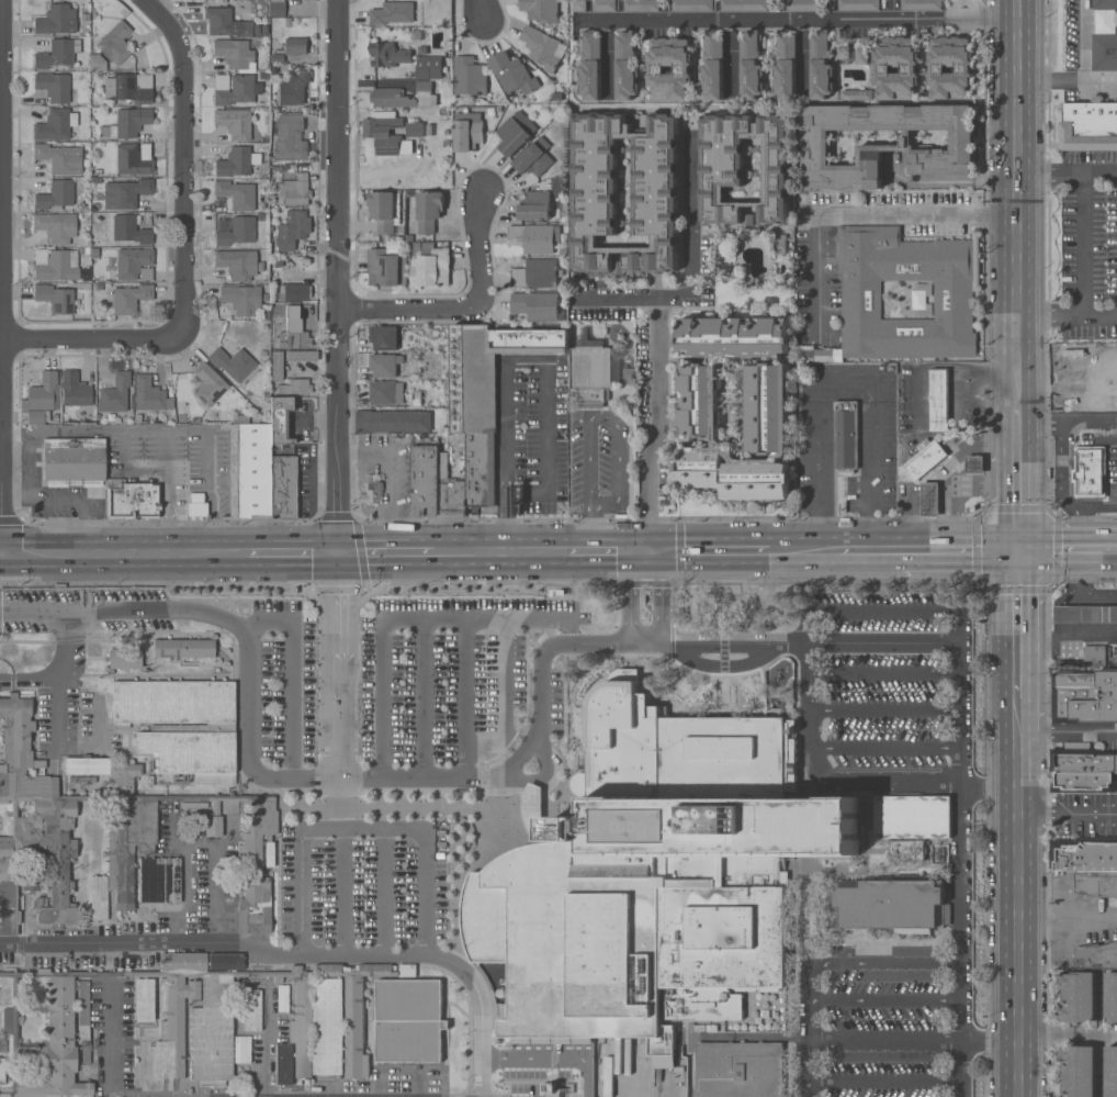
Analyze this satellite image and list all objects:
building: (743, 4)
building: (804, 4)
building: (858, 4)
building: (921, 4)
building: (1104, 4)
building: (578, 5)
building: (603, 5)
building: (641, 5)
building: (691, 5)
building: (277, 7)
road: (481, 10)
building: (540, 10)
road: (1017, 11)
building: (392, 13)
building: (56, 19)
building: (218, 19)
road: (796, 20)
building: (245, 29)
building: (115, 42)
road: (1084, 43)
building: (295, 47)
building: (541, 47)
building: (57, 53)
building: (1104, 53)
building: (235, 54)
building: (387, 54)
building: (861, 56)
road: (606, 59)
road: (731, 59)
road: (802, 59)
building: (98, 64)
building: (590, 66)
building: (625, 66)
building: (713, 66)
building: (751, 66)
building: (786, 66)
building: (821, 66)
building: (428, 67)
building: (896, 68)
building: (950, 68)
building: (669, 69)
building: (512, 75)
building: (469, 76)
road: (1051, 79)
road: (1101, 85)
building: (54, 86)
building: (131, 87)
building: (234, 88)
building: (293, 88)
building: (857, 94)
building: (404, 97)
building: (444, 114)
building: (131, 121)
building: (234, 122)
building: (55, 124)
building: (1088, 126)
building: (415, 130)
building: (467, 131)
building: (384, 134)
building: (290, 136)
building: (511, 136)
building: (887, 146)
building: (59, 157)
building: (534, 157)
building: (134, 158)
road: (182, 161)
building: (234, 163)
building: (742, 167)
road: (1067, 173)
building: (655, 187)
building: (295, 190)
building: (124, 193)
building: (236, 193)
building: (55, 194)
building: (537, 206)
building: (426, 208)
building: (382, 211)
road: (858, 212)
road: (1016, 214)
building: (296, 224)
building: (56, 226)
building: (129, 230)
building: (237, 232)
building: (532, 238)
building: (277, 240)
road: (1082, 246)
building: (236, 262)
building: (135, 264)
building: (56, 265)
road: (691, 266)
building: (386, 268)
building: (432, 269)
building: (620, 269)
building: (537, 273)
road: (3, 276)
road: (341, 276)
building: (293, 292)
building: (129, 298)
building: (58, 299)
building: (241, 299)
building: (919, 302)
building: (954, 305)
building: (537, 306)
road: (473, 309)
building: (307, 311)
road: (1067, 320)
building: (287, 336)
road: (90, 337)
building: (385, 337)
building: (811, 355)
building: (302, 356)
road: (514, 359)
building: (236, 365)
building: (277, 366)
building: (383, 366)
road: (1092, 367)
building: (591, 374)
road: (844, 383)
building: (208, 384)
building: (294, 388)
building: (74, 390)
building: (384, 392)
building: (114, 393)
building: (149, 394)
building: (486, 394)
road: (1067, 394)
building: (42, 398)
building: (939, 399)
building: (766, 410)
road: (657, 414)
building: (279, 419)
road: (316, 419)
road: (608, 419)
building: (391, 422)
road: (1040, 422)
road: (1091, 423)
road: (105, 430)
building: (846, 436)
building: (924, 459)
road: (1064, 460)
building: (74, 461)
building: (974, 464)
road: (816, 467)
road: (875, 467)
building: (249, 471)
building: (1090, 471)
road: (391, 477)
road: (1016, 478)
building: (425, 481)
building: (282, 488)
road: (168, 491)
road: (211, 491)
building: (372, 492)
building: (451, 494)
building: (132, 499)
building: (929, 500)
road: (64, 505)
building: (196, 505)
road: (1094, 507)
road: (1076, 520)
road: (586, 535)
road: (648, 539)
road: (961, 549)
traffic signals: (1016, 549)
road: (1067, 549)
road: (497, 550)
road: (608, 550)
road: (710, 550)
road: (803, 550)
road: (873, 550)
road: (292, 551)
road: (385, 551)
road: (47, 552)
road: (129, 552)
road: (191, 552)
road: (229, 552)
road: (2, 553)
road: (628, 583)
road: (656, 596)
road: (124, 614)
road: (882, 614)
building: (1085, 614)
road: (449, 619)
road: (1017, 623)
road: (884, 642)
road: (729, 643)
building: (183, 648)
building: (1094, 656)
building: (124, 658)
road: (338, 663)
parking lot: (447, 669)
road: (59, 671)
road: (884, 671)
parking lot: (283, 676)
parking lot: (892, 678)
road: (422, 697)
road: (463, 697)
road: (504, 697)
building: (1084, 697)
road: (60, 709)
road: (885, 709)
road: (960, 714)
building: (181, 726)
road: (1068, 735)
road: (887, 743)
building: (1082, 761)
road: (292, 770)
road: (541, 775)
road: (478, 776)
road: (856, 777)
building: (1083, 782)
road: (1068, 813)
building: (913, 817)
road: (362, 829)
building: (109, 831)
building: (704, 837)
road: (198, 843)
building: (906, 850)
building: (1084, 855)
building: (31, 880)
parking lot: (364, 882)
building: (1096, 885)
road: (341, 891)
road: (385, 892)
building: (143, 895)
road: (1019, 896)
building: (889, 903)
road: (956, 913)
road: (1068, 916)
building: (563, 939)
road: (298, 953)
building: (1096, 956)
road: (872, 963)
building: (1112, 996)
building: (1079, 997)
building: (144, 999)
building: (282, 1001)
road: (882, 1001)
building: (83, 1003)
building: (251, 1009)
building: (407, 1020)
building: (206, 1021)
building: (456, 1021)
road: (810, 1030)
road: (1068, 1034)
road: (1099, 1038)
road: (915, 1039)
building: (3, 1045)
road: (106, 1046)
building: (247, 1049)
building: (86, 1052)
road: (551, 1057)
road: (959, 1067)
building: (738, 1070)
building: (2, 1071)
building: (1079, 1071)
building: (1112, 1072)
building: (553, 1094)
road: (635, 1094)

